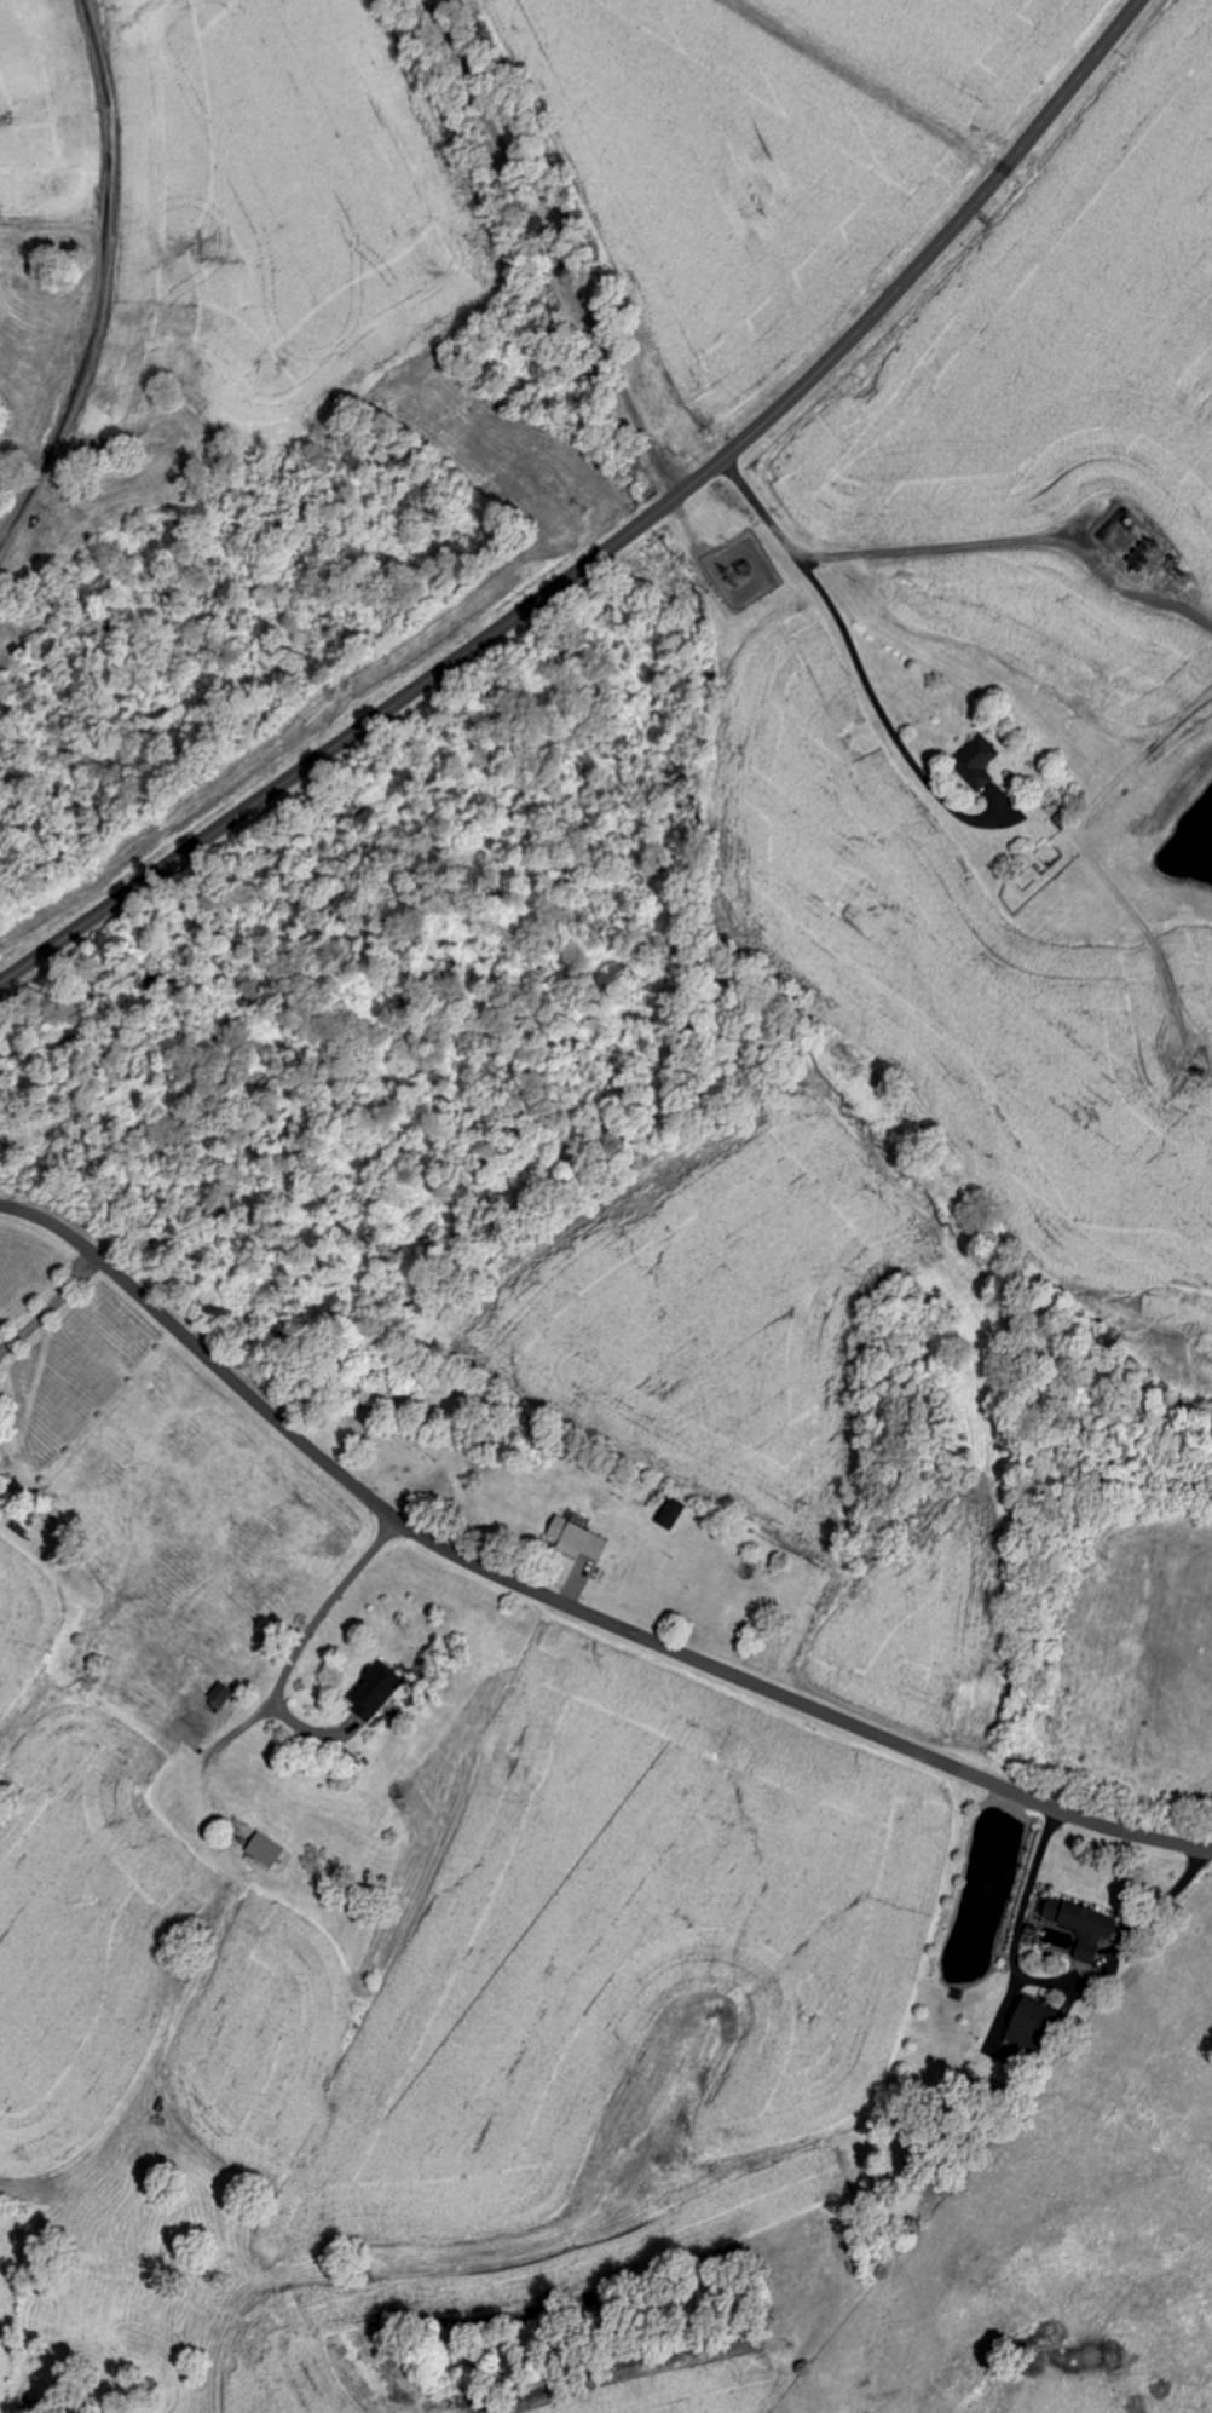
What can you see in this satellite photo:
road: (616, 542)
road: (831, 603)
building: (979, 764)
building: (674, 1516)
building: (579, 1540)
road: (561, 1606)
building: (376, 1693)
building: (267, 1851)
building: (1085, 1928)
building: (1033, 2026)

